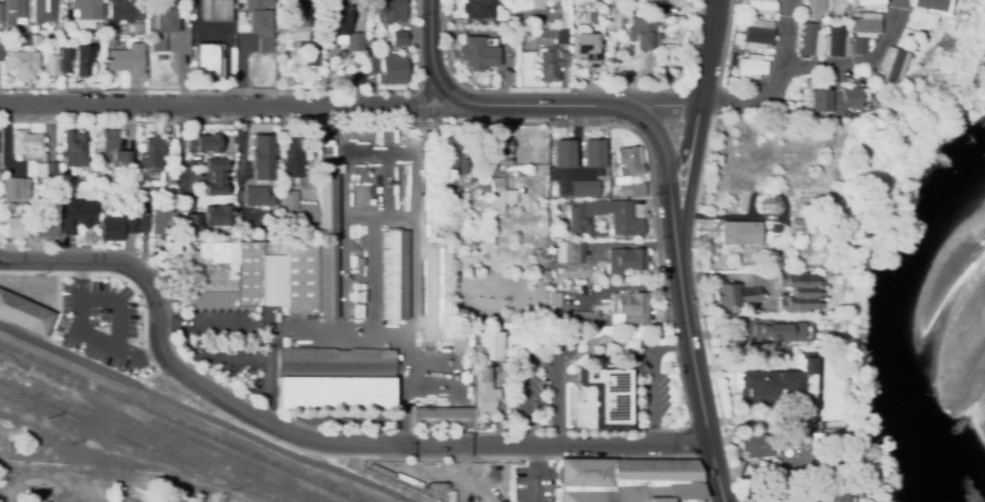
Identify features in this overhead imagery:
building: (867, 4)
building: (536, 5)
building: (929, 5)
building: (760, 6)
building: (604, 7)
building: (834, 7)
building: (812, 8)
building: (87, 9)
building: (391, 9)
building: (478, 9)
building: (658, 9)
building: (42, 10)
building: (124, 10)
building: (216, 10)
building: (12, 11)
building: (1, 12)
building: (853, 15)
building: (336, 20)
building: (163, 22)
building: (259, 24)
building: (296, 24)
building: (818, 24)
building: (862, 25)
building: (96, 26)
building: (823, 30)
building: (112, 32)
building: (641, 33)
building: (755, 33)
building: (554, 34)
building: (399, 38)
building: (23, 39)
road: (786, 39)
building: (36, 40)
building: (808, 40)
building: (352, 41)
building: (110, 42)
building: (833, 42)
building: (370, 43)
building: (585, 46)
building: (856, 46)
building: (0, 47)
building: (274, 49)
road: (430, 50)
road: (707, 52)
building: (311, 53)
building: (478, 53)
building: (741, 53)
building: (64, 59)
building: (206, 60)
building: (125, 61)
building: (21, 63)
building: (370, 63)
building: (551, 63)
building: (82, 64)
building: (891, 64)
building: (51, 65)
building: (751, 66)
building: (392, 69)
road: (860, 72)
building: (740, 76)
building: (357, 80)
building: (828, 100)
road: (352, 104)
road: (746, 104)
road: (697, 124)
building: (335, 131)
building: (203, 143)
building: (27, 144)
building: (73, 150)
building: (114, 150)
building: (503, 151)
building: (593, 153)
building: (563, 154)
building: (150, 155)
building: (293, 157)
building: (453, 157)
building: (260, 158)
building: (612, 164)
road: (667, 166)
building: (337, 168)
building: (40, 170)
building: (50, 172)
building: (628, 172)
building: (214, 177)
building: (168, 178)
road: (690, 184)
building: (38, 185)
building: (479, 187)
building: (15, 188)
building: (585, 189)
building: (147, 193)
building: (500, 196)
building: (257, 197)
building: (48, 198)
building: (51, 204)
building: (764, 204)
building: (455, 205)
building: (34, 207)
building: (297, 211)
building: (217, 216)
building: (76, 217)
building: (578, 217)
building: (161, 219)
building: (191, 223)
building: (793, 224)
building: (131, 225)
building: (256, 226)
building: (46, 227)
building: (16, 228)
building: (773, 228)
building: (111, 229)
building: (448, 229)
building: (739, 233)
building: (556, 236)
building: (327, 245)
building: (569, 252)
road: (4, 260)
building: (626, 260)
building: (360, 262)
building: (251, 275)
building: (394, 275)
building: (546, 276)
road: (413, 284)
building: (795, 292)
building: (732, 295)
building: (554, 299)
road: (118, 305)
building: (630, 307)
building: (24, 315)
building: (572, 318)
road: (262, 324)
building: (774, 331)
road: (88, 334)
road: (542, 338)
railway: (4, 342)
building: (488, 346)
road: (688, 351)
river: (906, 353)
railway: (66, 357)
building: (483, 374)
road: (649, 377)
building: (335, 378)
building: (776, 388)
road: (403, 391)
building: (485, 399)
building: (604, 400)
road: (202, 412)
building: (443, 418)
railway: (185, 423)
building: (799, 441)
road: (310, 442)
building: (759, 446)
railway: (146, 448)
railway: (133, 470)
road: (717, 472)
road: (536, 473)
building: (629, 480)
road: (45, 489)
road: (2, 491)
road: (3, 494)
building: (834, 494)
building: (784, 495)

